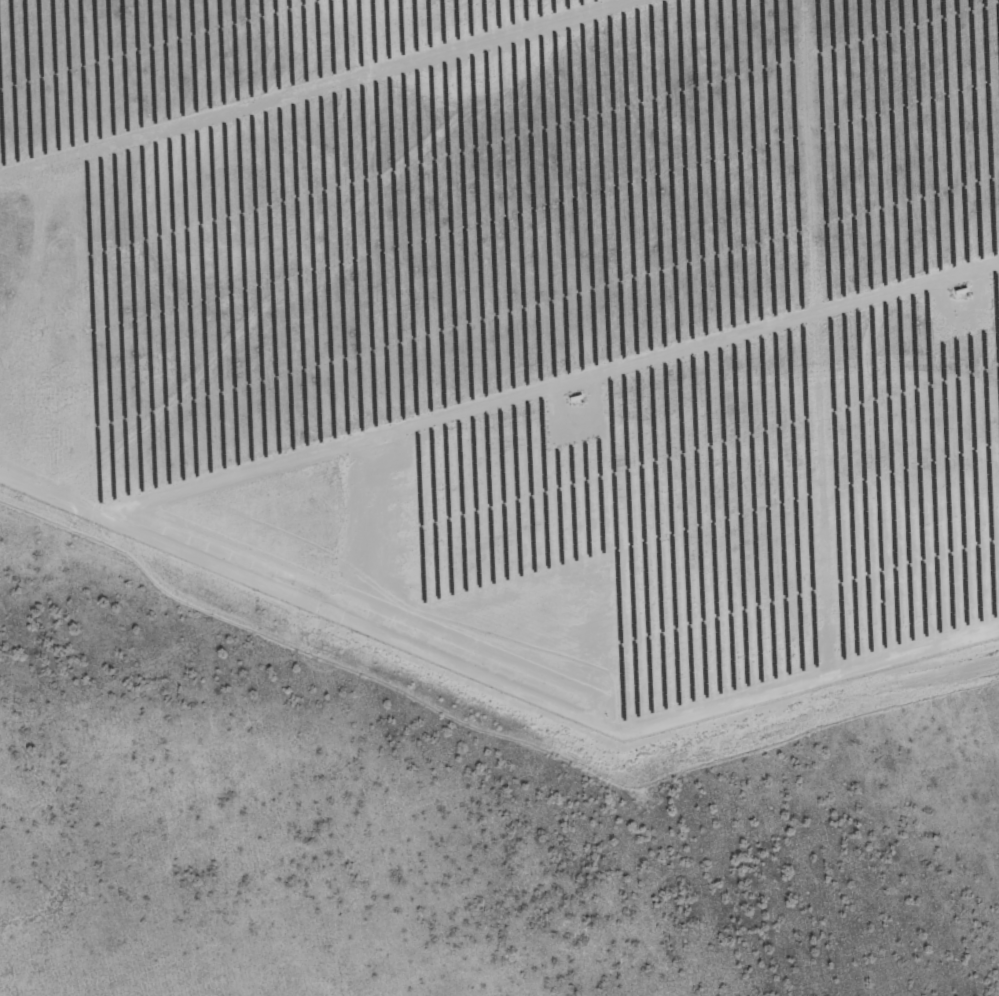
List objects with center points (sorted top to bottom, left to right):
solar farm: (525, 325)

